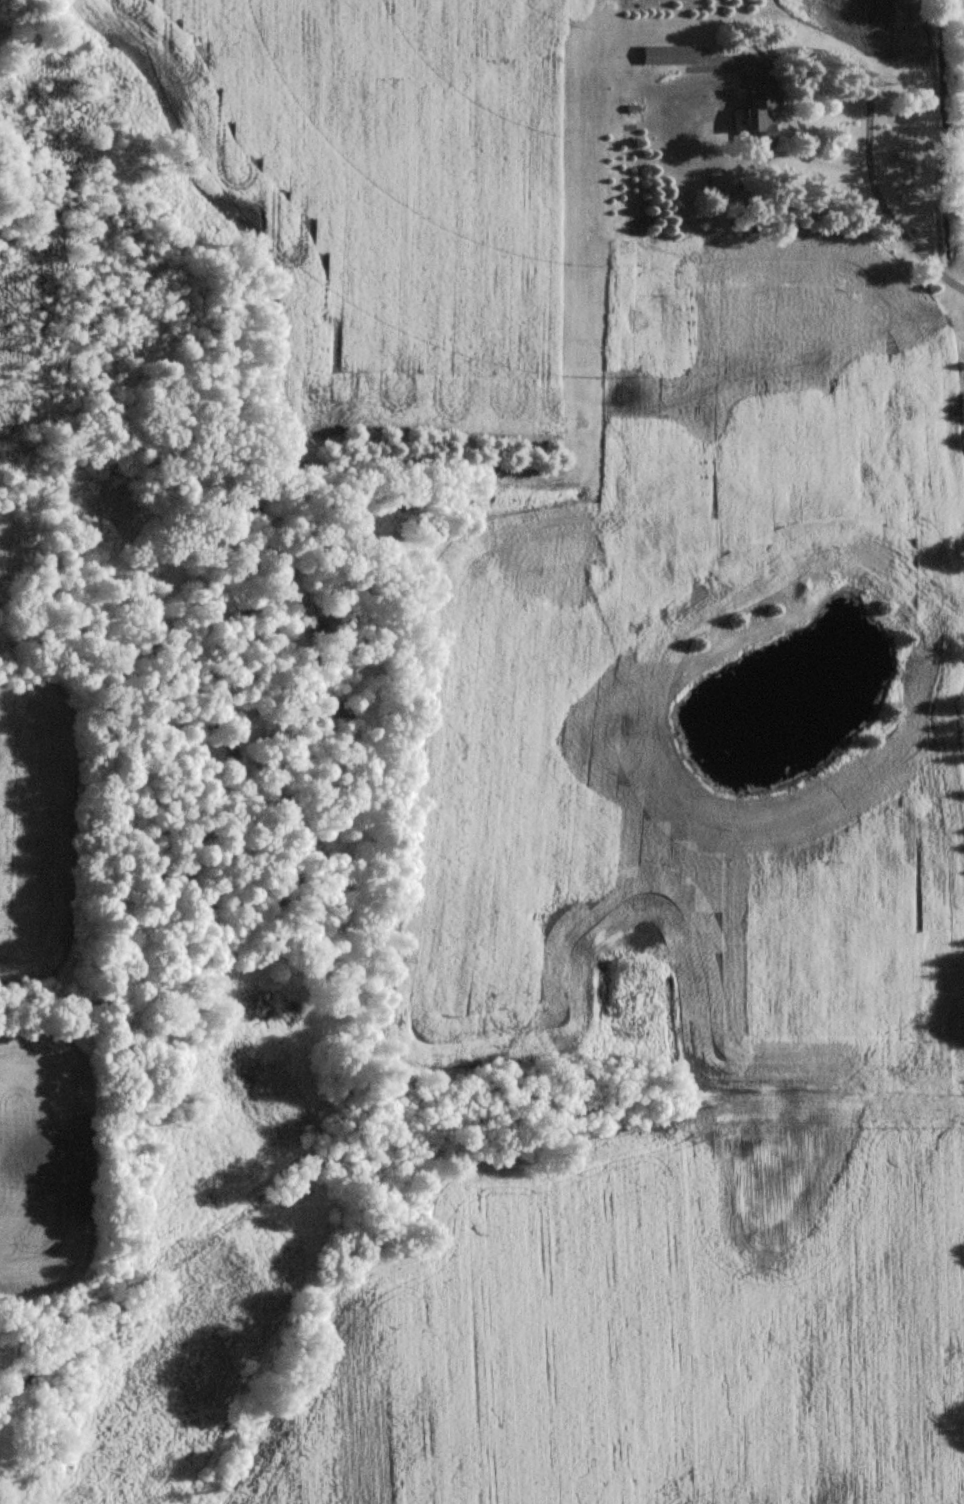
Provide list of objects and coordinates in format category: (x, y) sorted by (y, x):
building: (663, 53)
building: (756, 114)
road: (869, 119)

